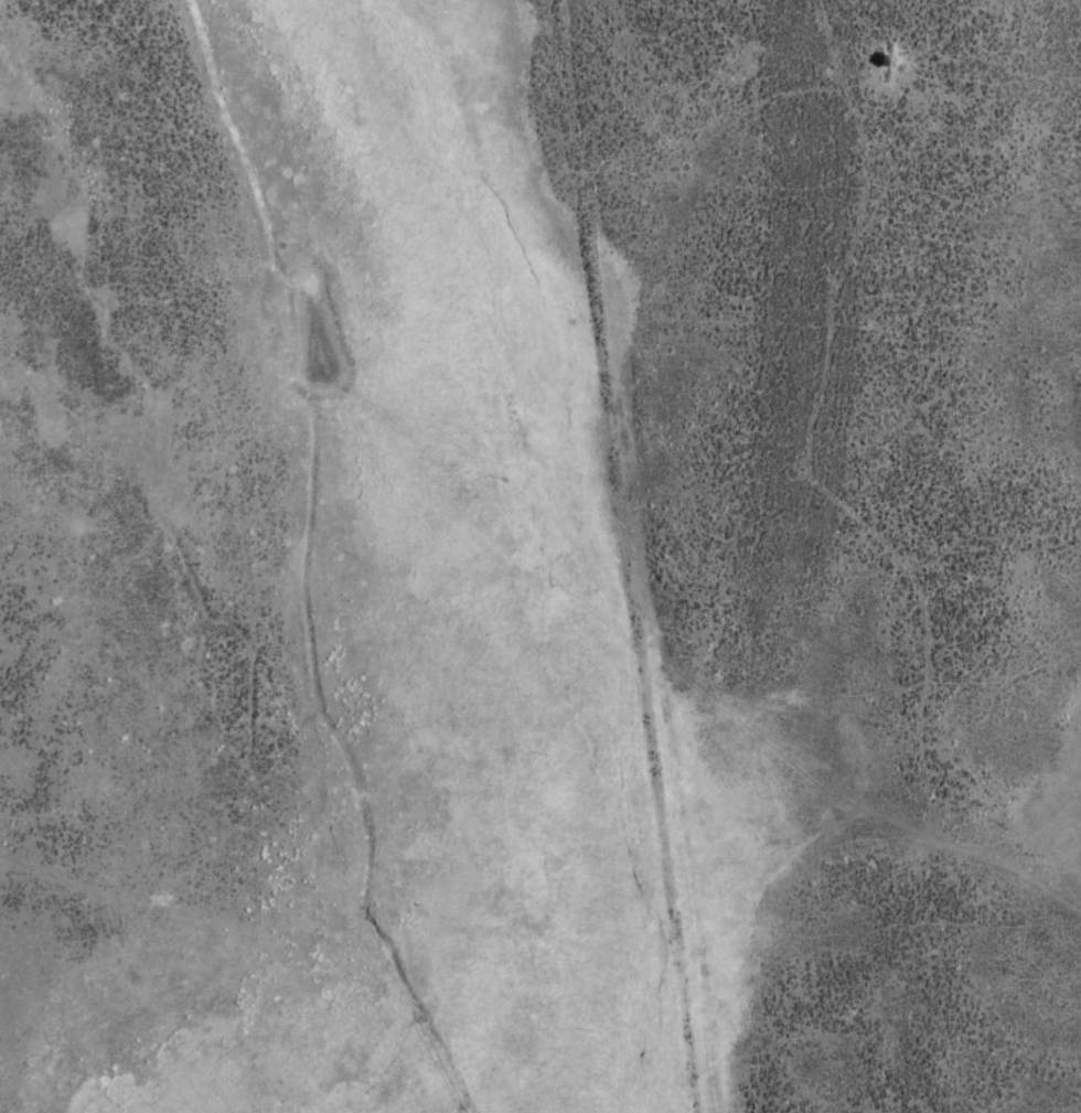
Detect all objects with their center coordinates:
crop: (540, 556)

